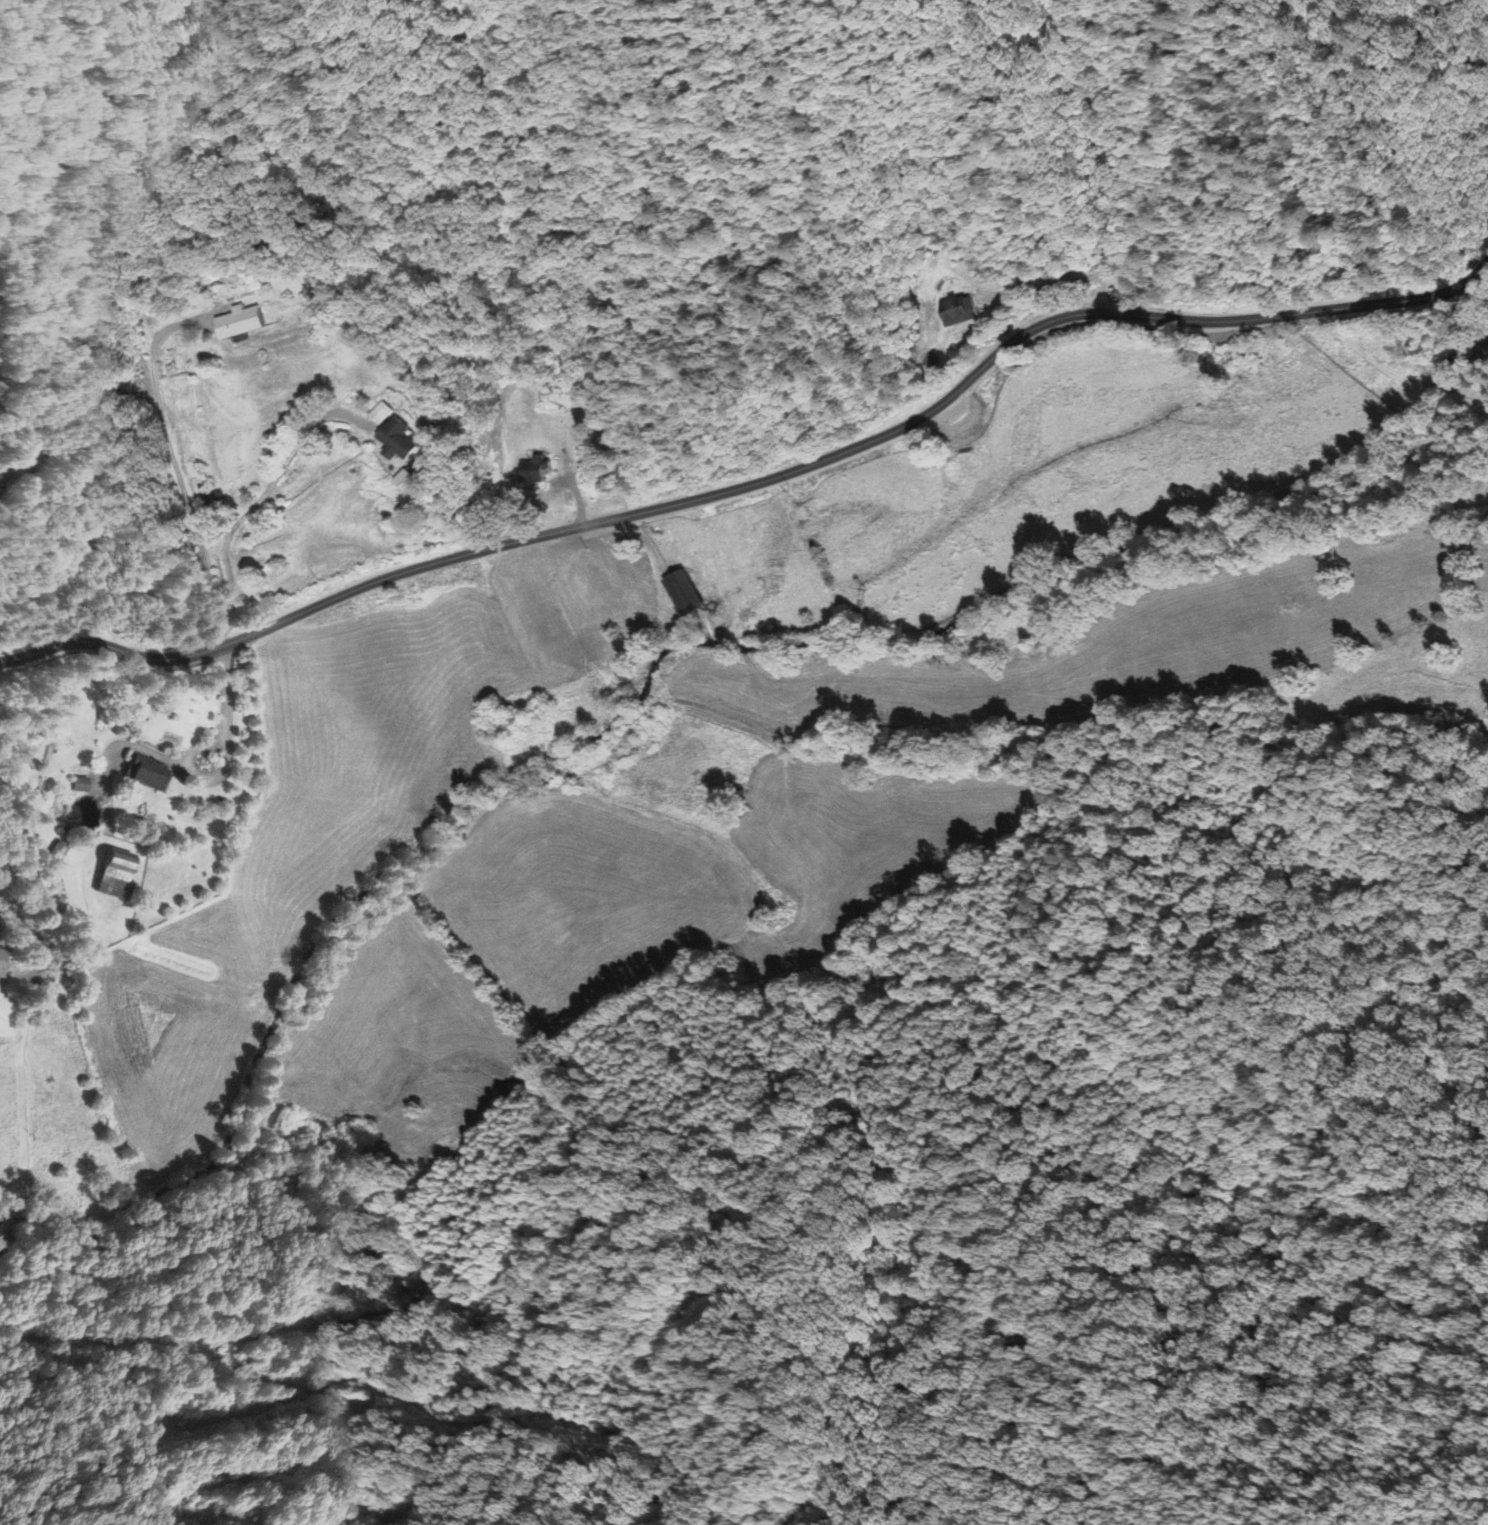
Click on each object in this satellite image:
building: (245, 324)
building: (400, 442)
building: (539, 474)
road: (758, 485)
road: (221, 591)
building: (688, 595)
building: (148, 776)
building: (82, 787)
building: (117, 876)
building: (2, 968)
road: (4, 1201)
road: (2, 1223)
road: (0, 1232)

